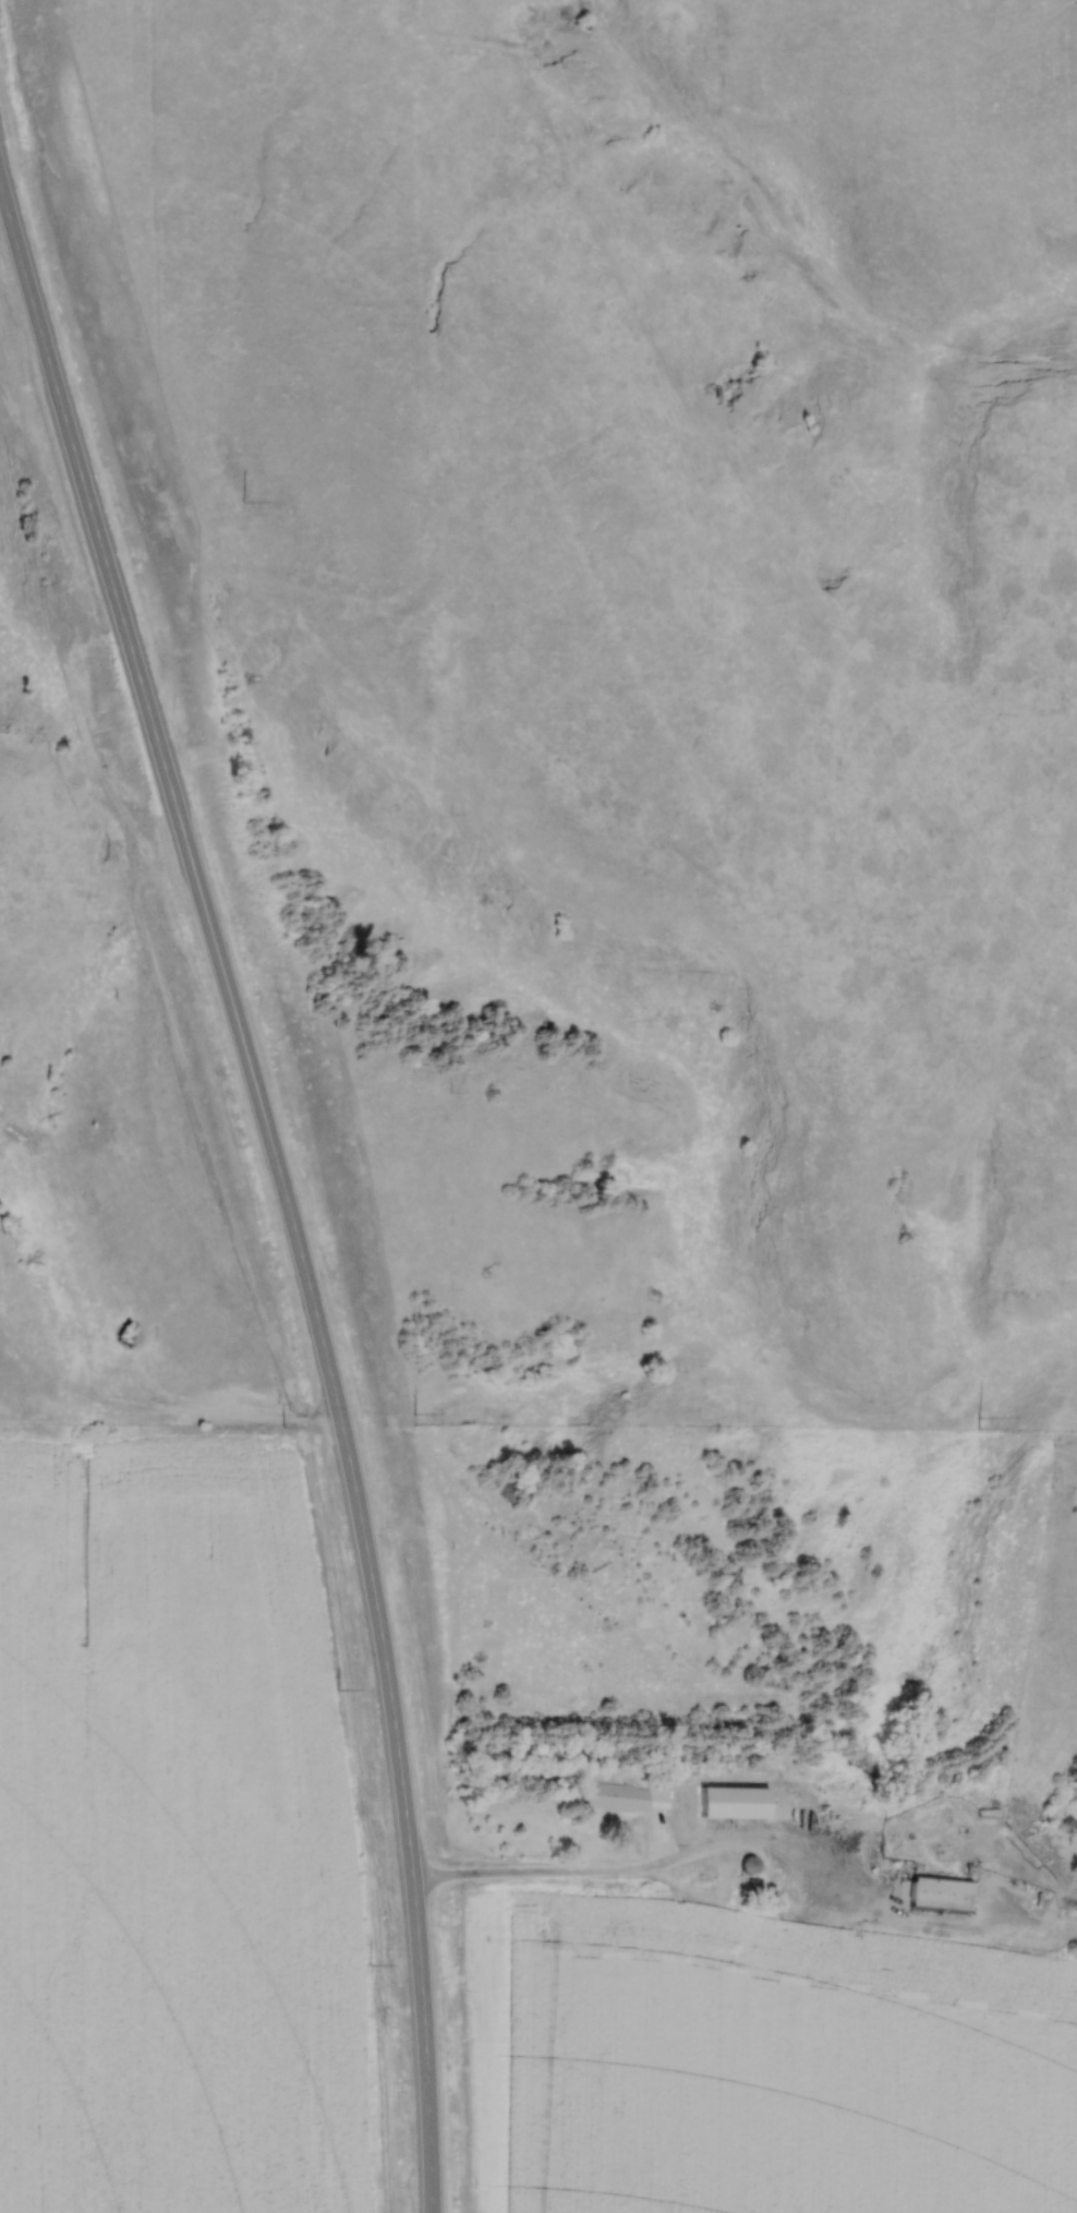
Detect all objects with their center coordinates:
road: (285, 1183)
building: (795, 1800)
building: (618, 1801)
building: (668, 1803)
building: (709, 1811)
building: (787, 1860)
building: (750, 1867)
road: (553, 1875)
building: (752, 1889)
building: (941, 1898)

